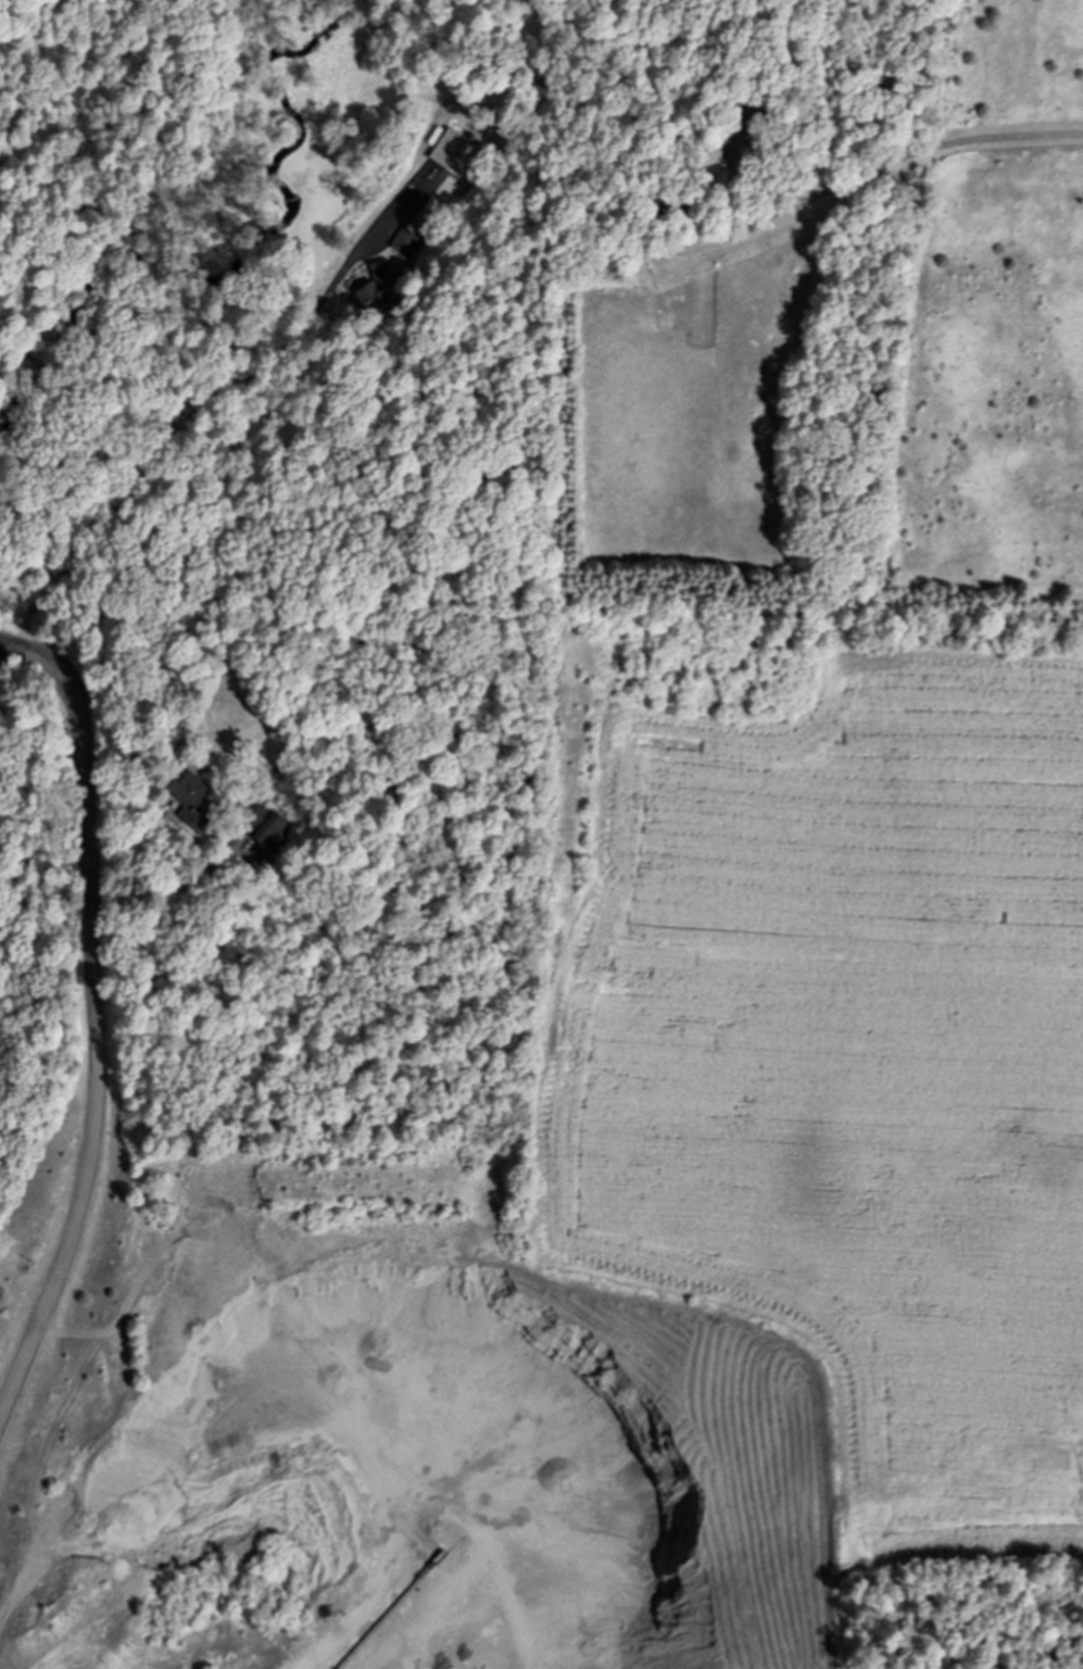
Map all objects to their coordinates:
road: (24, 76)
road: (918, 148)
building: (452, 152)
road: (734, 188)
building: (404, 243)
building: (375, 287)
river: (105, 357)
road: (188, 414)
road: (2, 649)
building: (190, 802)
road: (165, 890)
road: (98, 1018)
quarry: (407, 1433)

